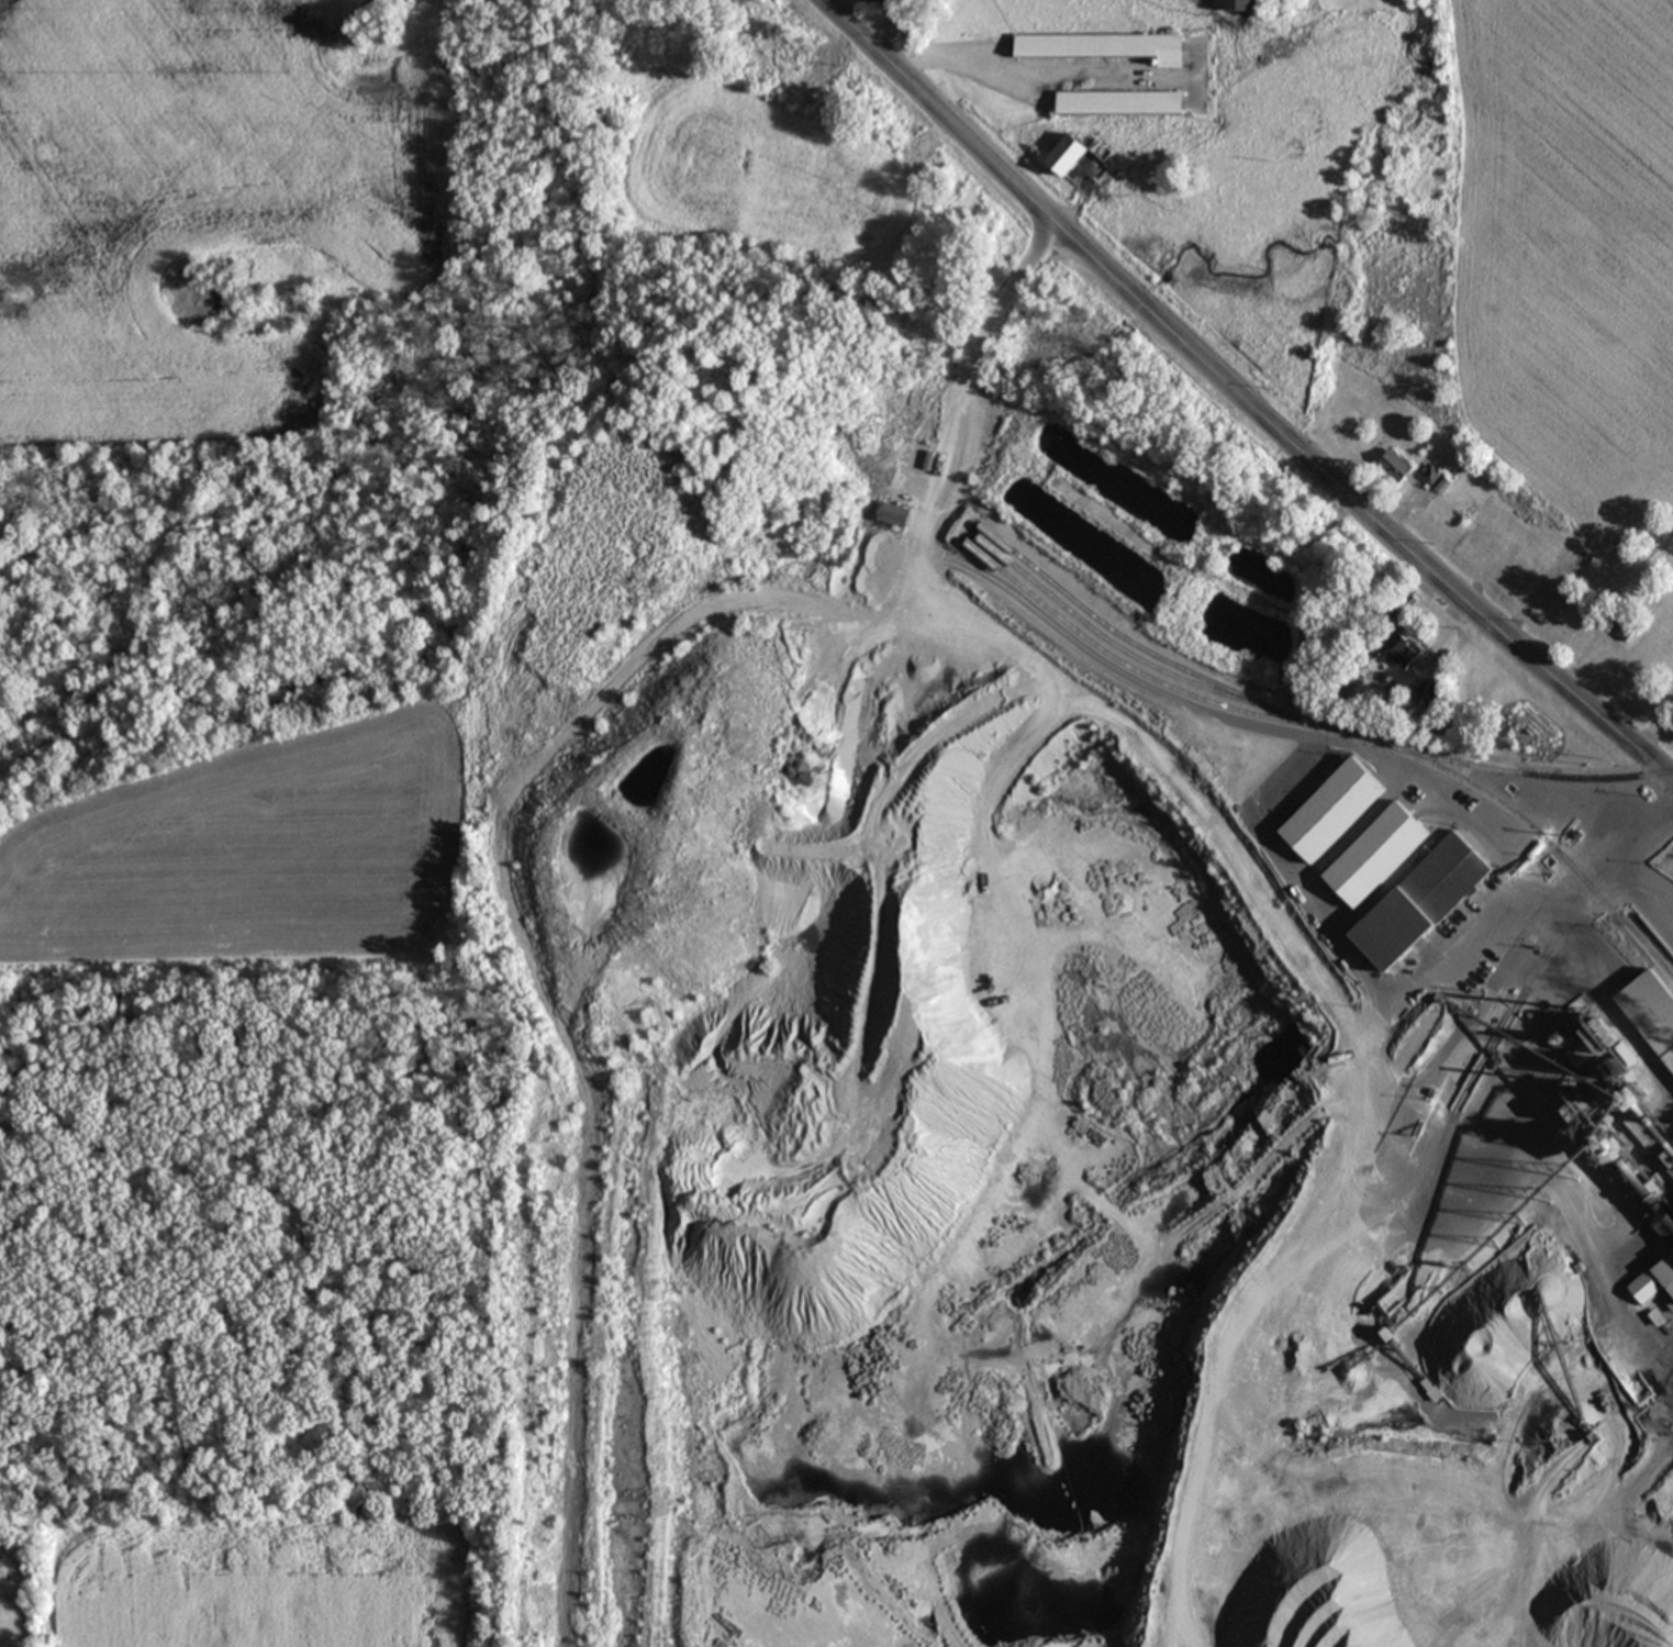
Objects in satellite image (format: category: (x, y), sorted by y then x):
building: (881, 3)
building: (1245, 5)
building: (1111, 48)
road: (837, 63)
building: (1126, 103)
building: (1078, 155)
road: (1011, 296)
road: (1233, 408)
building: (1397, 468)
building: (1437, 480)
building: (895, 518)
building: (1626, 630)
building: (1410, 655)
building: (1430, 697)
road: (1084, 702)
building: (1586, 813)
building: (1373, 852)
road: (1577, 876)
building: (1415, 899)
building: (1652, 1012)
quarry: (1092, 1064)
building: (1671, 1064)
quarry: (1079, 1101)
building: (1669, 1273)
building: (1649, 1291)

